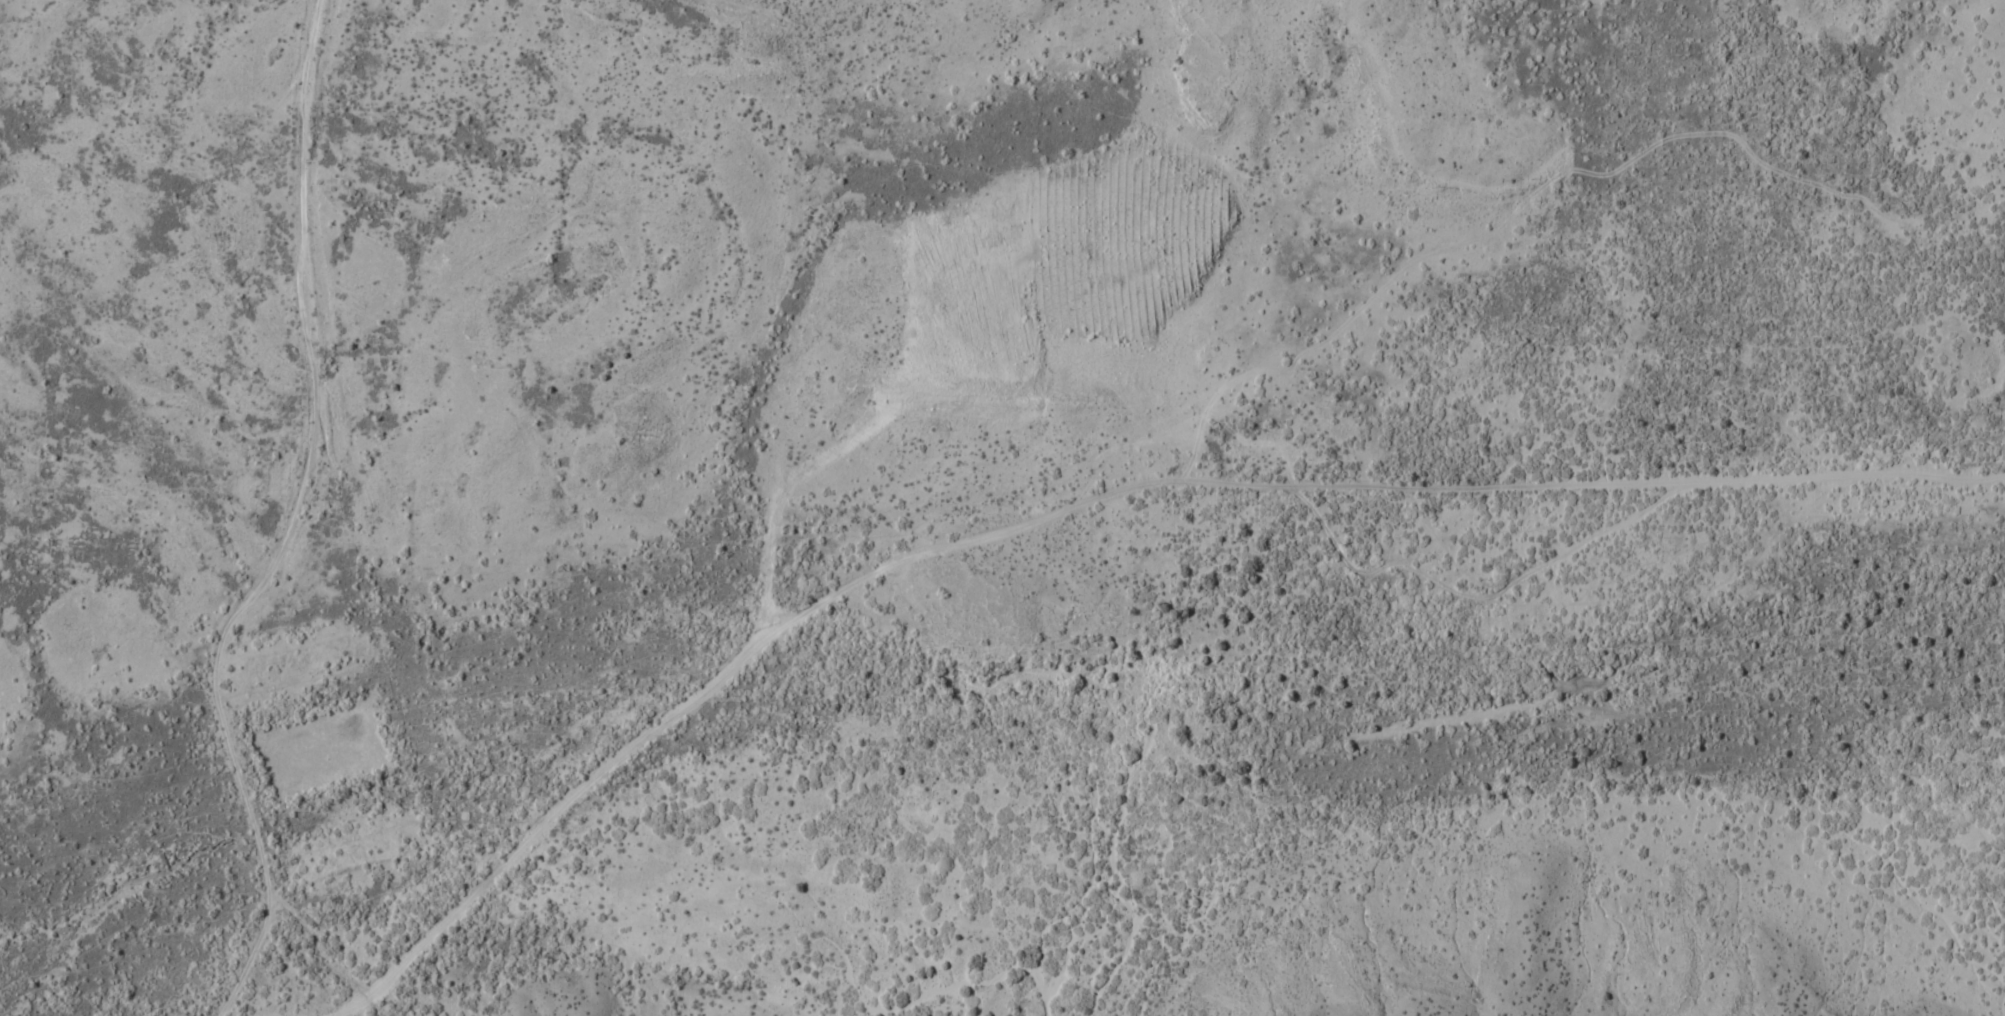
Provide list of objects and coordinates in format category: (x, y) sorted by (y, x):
road: (1080, 501)
road: (301, 528)

